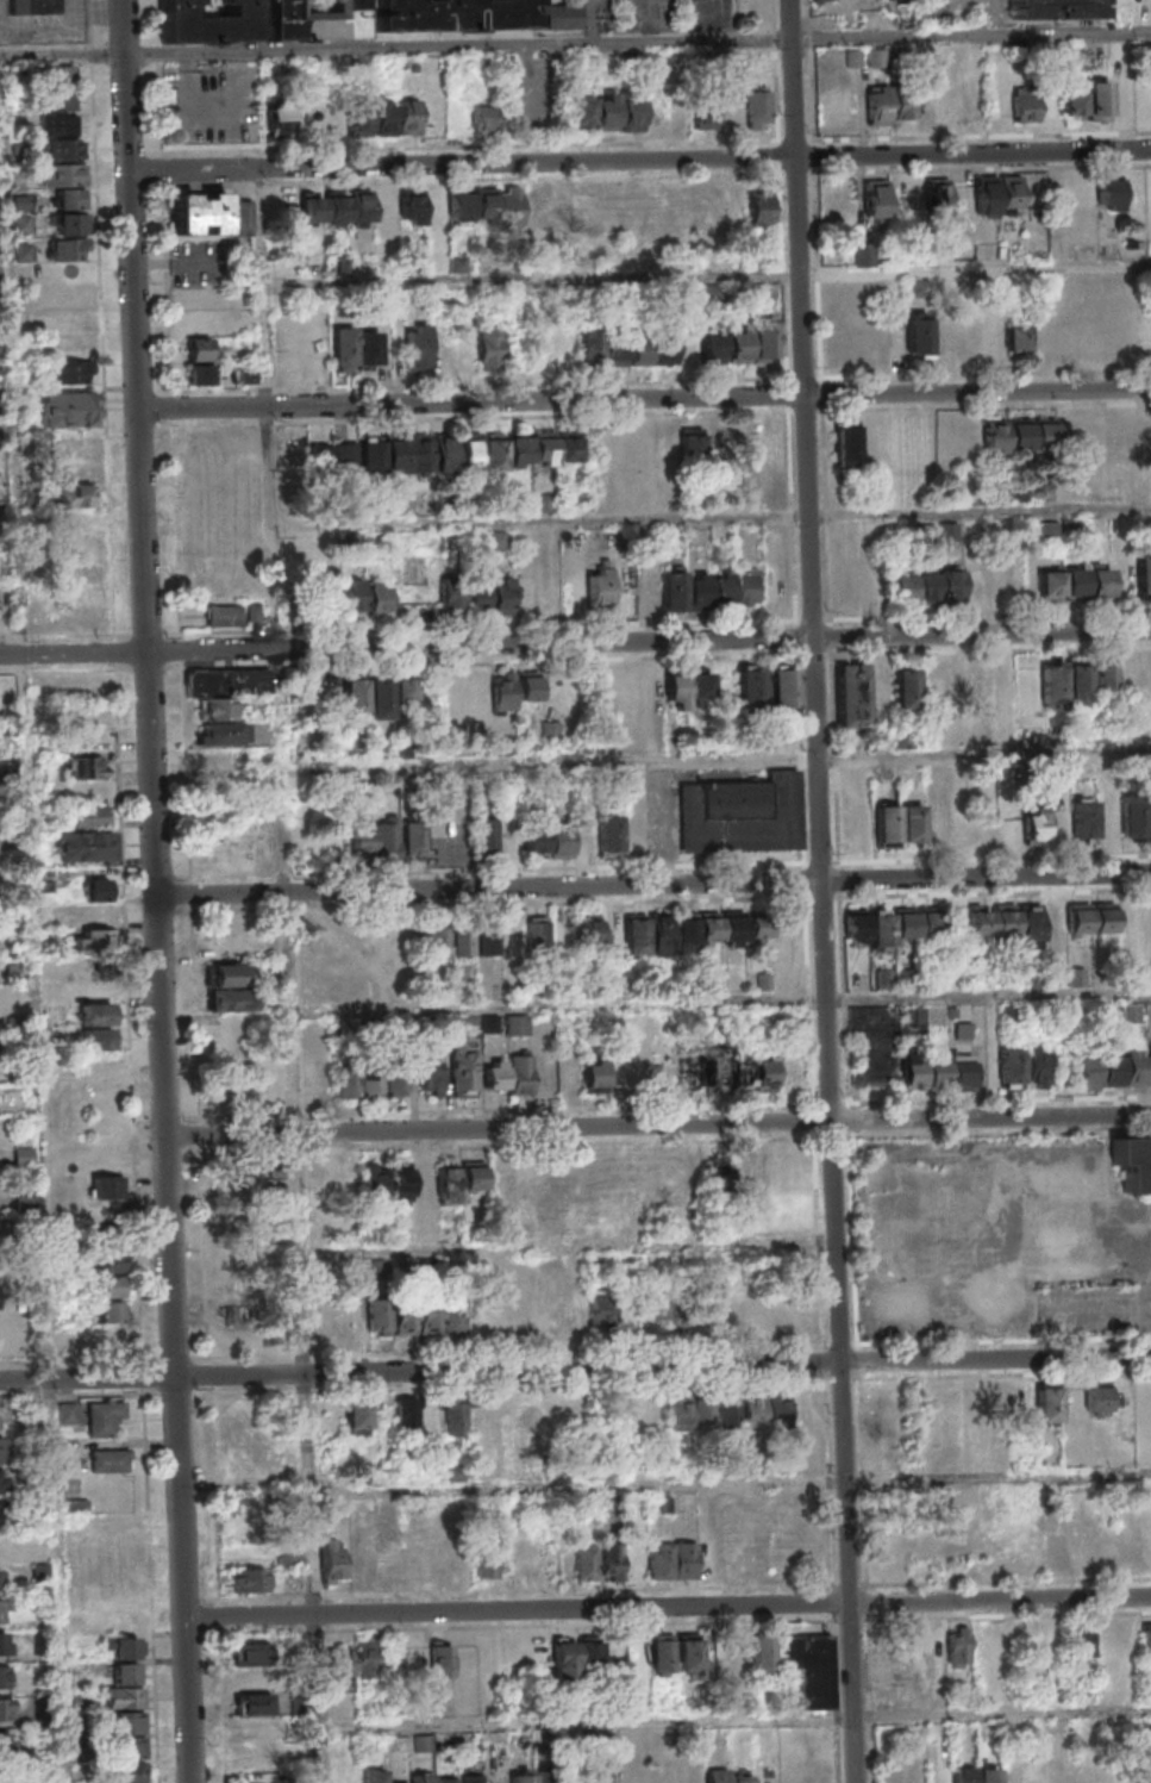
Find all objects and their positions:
building: (821, 0)
building: (37, 7)
building: (1055, 11)
building: (453, 13)
parking lot: (655, 14)
building: (559, 17)
building: (313, 20)
building: (206, 23)
road: (638, 40)
road: (62, 54)
building: (58, 100)
building: (1088, 101)
building: (888, 104)
building: (1024, 104)
building: (718, 106)
building: (757, 107)
building: (605, 112)
building: (408, 116)
building: (384, 117)
building: (481, 118)
building: (358, 119)
building: (280, 121)
road: (693, 141)
building: (62, 149)
road: (972, 150)
road: (462, 162)
road: (964, 168)
building: (63, 174)
road: (514, 176)
building: (937, 191)
building: (1109, 192)
building: (984, 194)
building: (1009, 194)
building: (68, 198)
building: (875, 198)
building: (583, 201)
road: (131, 204)
building: (470, 205)
building: (336, 207)
building: (759, 208)
building: (199, 212)
building: (242, 219)
building: (69, 223)
building: (68, 249)
building: (863, 254)
road: (706, 275)
road: (106, 317)
building: (65, 322)
building: (918, 333)
building: (943, 335)
building: (990, 338)
building: (763, 339)
building: (738, 342)
building: (415, 347)
building: (489, 347)
building: (648, 348)
building: (355, 349)
road: (13, 356)
building: (199, 361)
building: (70, 372)
road: (751, 378)
road: (977, 389)
road: (471, 401)
road: (265, 407)
building: (68, 409)
road: (759, 410)
building: (1031, 435)
building: (1140, 435)
building: (690, 441)
building: (739, 441)
building: (845, 442)
building: (75, 445)
building: (514, 449)
building: (384, 455)
building: (542, 501)
road: (714, 518)
building: (74, 544)
building: (294, 551)
building: (1144, 573)
building: (86, 580)
building: (1002, 580)
building: (1076, 582)
building: (902, 585)
building: (926, 585)
building: (951, 585)
building: (599, 587)
building: (747, 587)
building: (977, 587)
building: (695, 590)
building: (500, 594)
building: (364, 596)
building: (462, 596)
building: (223, 615)
road: (971, 615)
building: (75, 619)
road: (632, 623)
road: (981, 631)
road: (60, 636)
road: (645, 638)
road: (239, 649)
road: (152, 650)
road: (818, 653)
road: (186, 668)
road: (796, 671)
road: (814, 680)
building: (1084, 680)
building: (978, 682)
building: (527, 685)
building: (783, 686)
building: (404, 687)
building: (750, 687)
road: (832, 687)
building: (906, 687)
building: (223, 690)
building: (687, 690)
building: (501, 691)
building: (851, 694)
building: (367, 696)
building: (501, 743)
road: (719, 759)
building: (223, 760)
building: (85, 767)
building: (855, 808)
building: (742, 813)
building: (90, 815)
building: (1133, 817)
building: (1149, 817)
building: (1084, 819)
building: (1108, 819)
building: (888, 824)
building: (912, 824)
building: (1034, 827)
building: (1061, 829)
building: (607, 834)
building: (483, 836)
building: (411, 837)
building: (375, 840)
building: (546, 840)
building: (83, 844)
road: (869, 860)
road: (987, 874)
road: (488, 886)
building: (96, 889)
road: (877, 894)
building: (1090, 917)
building: (1145, 919)
building: (993, 921)
building: (893, 924)
building: (1030, 924)
building: (708, 929)
building: (758, 929)
building: (584, 931)
building: (538, 933)
building: (659, 934)
building: (634, 935)
building: (512, 936)
building: (437, 937)
building: (94, 939)
building: (487, 939)
building: (463, 941)
building: (229, 974)
building: (1077, 977)
building: (884, 978)
building: (98, 987)
building: (12, 996)
building: (230, 999)
road: (722, 1000)
building: (96, 1014)
road: (159, 1015)
building: (515, 1024)
building: (963, 1029)
building: (99, 1049)
building: (890, 1049)
building: (1036, 1065)
building: (1011, 1067)
building: (1112, 1068)
building: (690, 1070)
building: (740, 1072)
building: (462, 1073)
building: (518, 1073)
building: (590, 1073)
building: (715, 1073)
building: (951, 1073)
building: (764, 1074)
building: (494, 1076)
building: (430, 1077)
building: (383, 1081)
building: (345, 1083)
road: (927, 1099)
road: (992, 1117)
road: (499, 1128)
road: (936, 1134)
building: (1134, 1165)
building: (244, 1166)
building: (277, 1167)
building: (717, 1170)
building: (458, 1178)
building: (389, 1180)
building: (319, 1184)
building: (548, 1184)
building: (107, 1186)
road: (301, 1215)
building: (237, 1218)
road: (569, 1245)
building: (108, 1254)
building: (111, 1286)
building: (601, 1310)
building: (738, 1310)
building: (108, 1311)
building: (527, 1311)
building: (502, 1314)
building: (238, 1315)
building: (661, 1315)
building: (413, 1317)
road: (1003, 1339)
building: (105, 1341)
road: (996, 1357)
road: (420, 1370)
road: (987, 1373)
building: (1096, 1397)
building: (1000, 1398)
building: (1047, 1403)
building: (68, 1411)
building: (678, 1411)
building: (740, 1411)
building: (530, 1413)
building: (402, 1415)
building: (104, 1416)
building: (357, 1417)
building: (455, 1417)
building: (2, 1450)
road: (176, 1459)
building: (110, 1460)
road: (730, 1480)
building: (1, 1482)
building: (4, 1514)
building: (4, 1546)
building: (115, 1548)
building: (412, 1556)
building: (331, 1560)
building: (671, 1560)
building: (598, 1561)
building: (487, 1563)
building: (363, 1569)
road: (849, 1571)
building: (0, 1578)
road: (1045, 1579)
road: (61, 1581)
building: (248, 1581)
road: (1000, 1598)
building: (4, 1607)
road: (582, 1608)
road: (1055, 1614)
road: (249, 1616)
building: (1147, 1640)
building: (5, 1642)
building: (1081, 1644)
building: (120, 1646)
building: (958, 1646)
building: (762, 1652)
building: (662, 1653)
building: (688, 1654)
building: (738, 1656)
building: (573, 1657)
building: (367, 1658)
building: (442, 1659)
building: (340, 1660)
building: (252, 1666)
building: (809, 1670)
building: (126, 1672)
building: (4, 1677)
building: (125, 1697)
building: (252, 1703)
building: (5, 1709)
road: (734, 1716)
building: (6, 1745)
building: (123, 1748)
building: (963, 1773)
building: (342, 1775)
building: (717, 1775)
building: (742, 1775)
building: (987, 1775)
building: (373, 1776)
building: (421, 1777)
building: (567, 1777)
building: (595, 1777)
building: (459, 1778)

